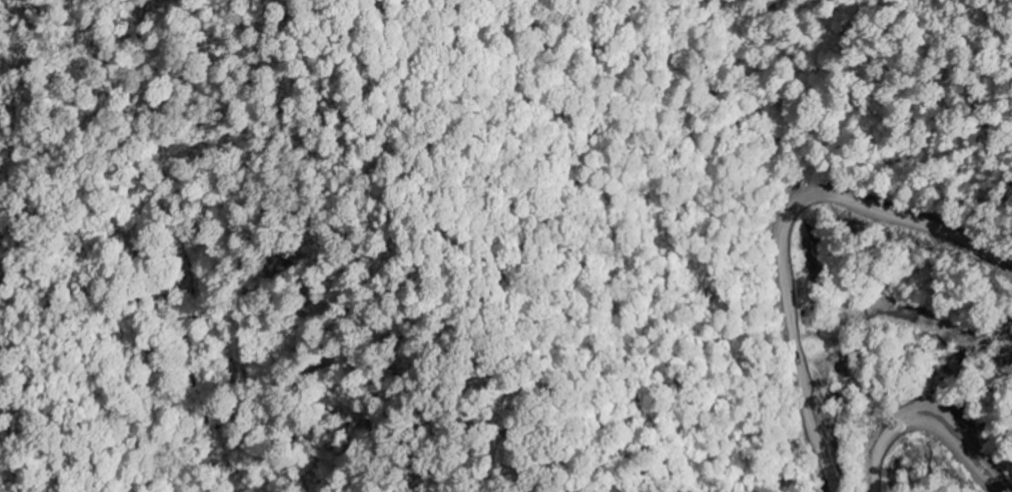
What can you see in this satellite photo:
road: (836, 263)
road: (948, 411)

